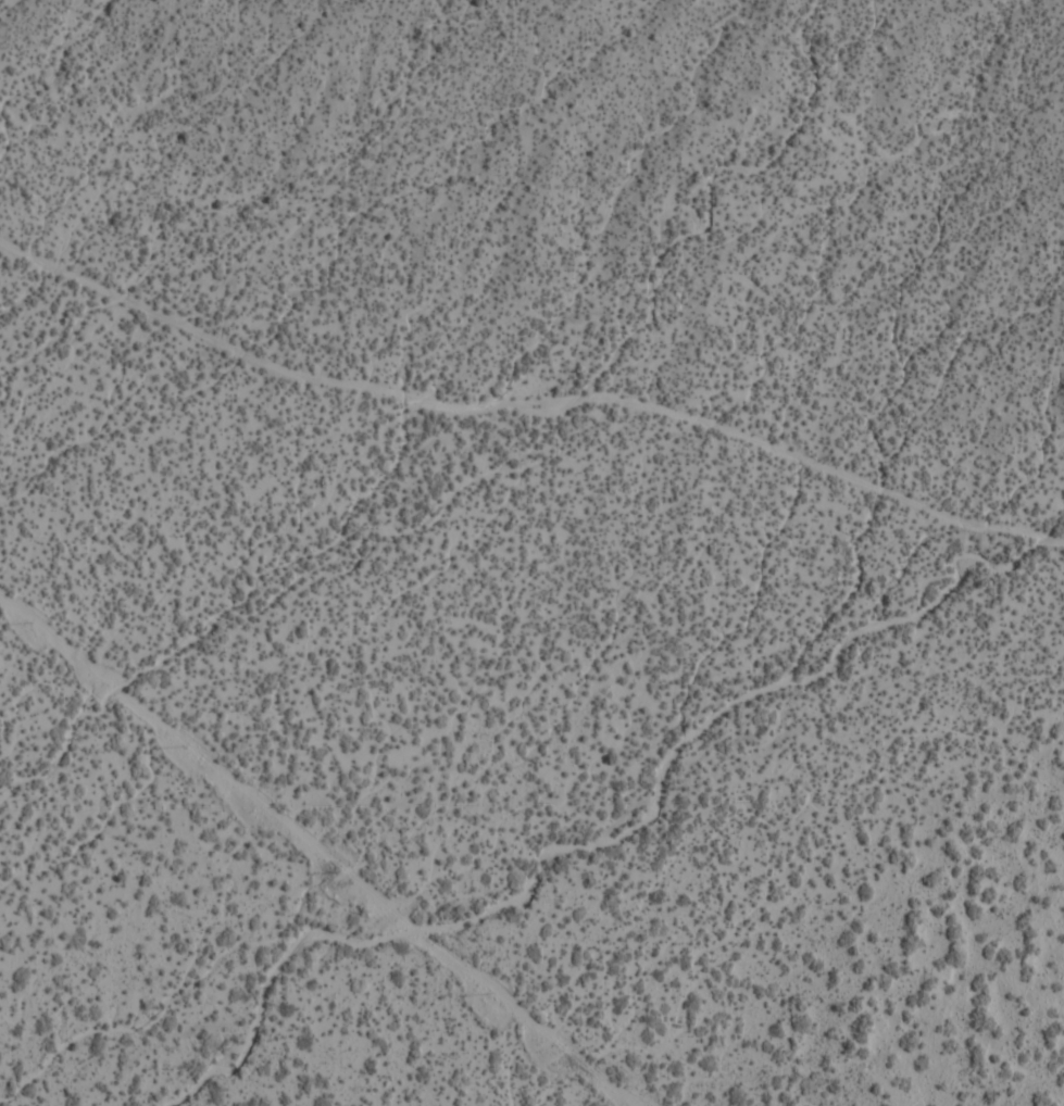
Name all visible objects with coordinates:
building: (37, 681)

